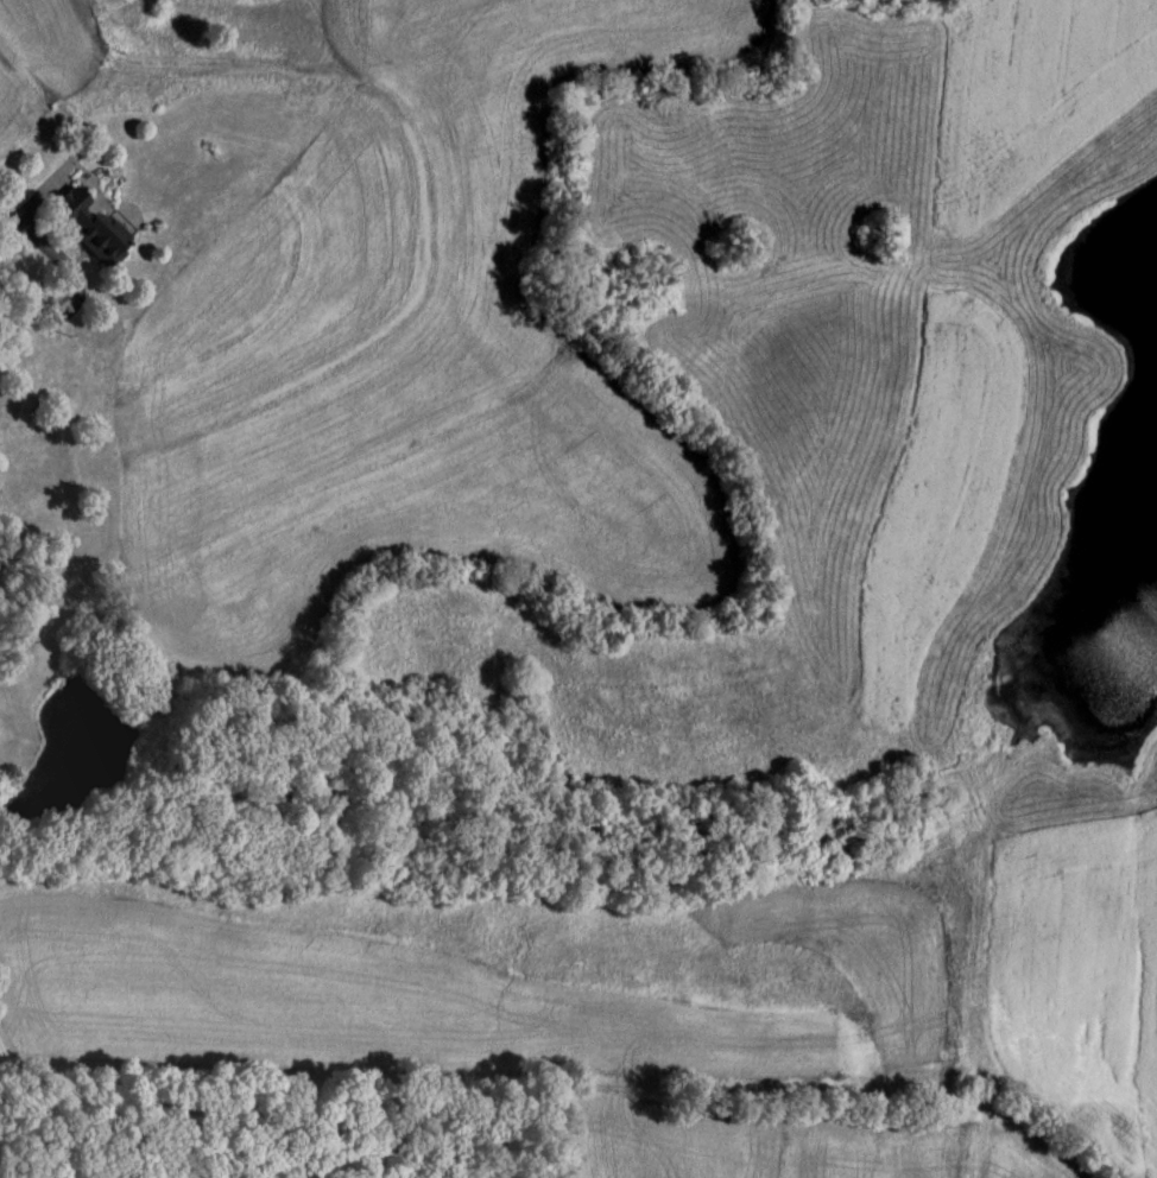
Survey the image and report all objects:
building: (100, 234)
road: (74, 280)
building: (32, 407)
road: (694, 894)
road: (33, 1111)

